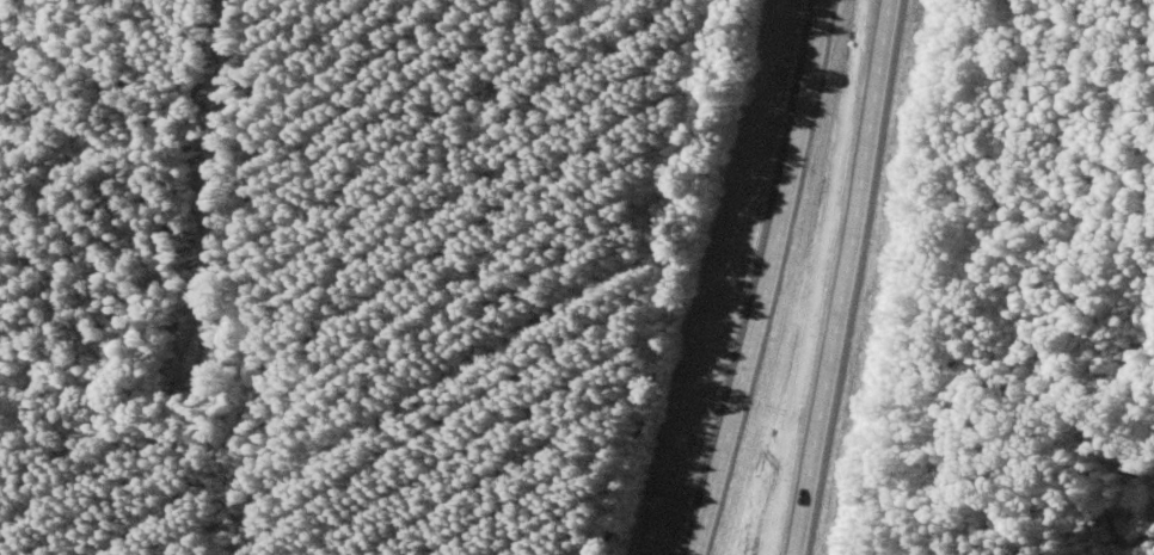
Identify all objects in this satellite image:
road: (851, 277)
road: (767, 279)

